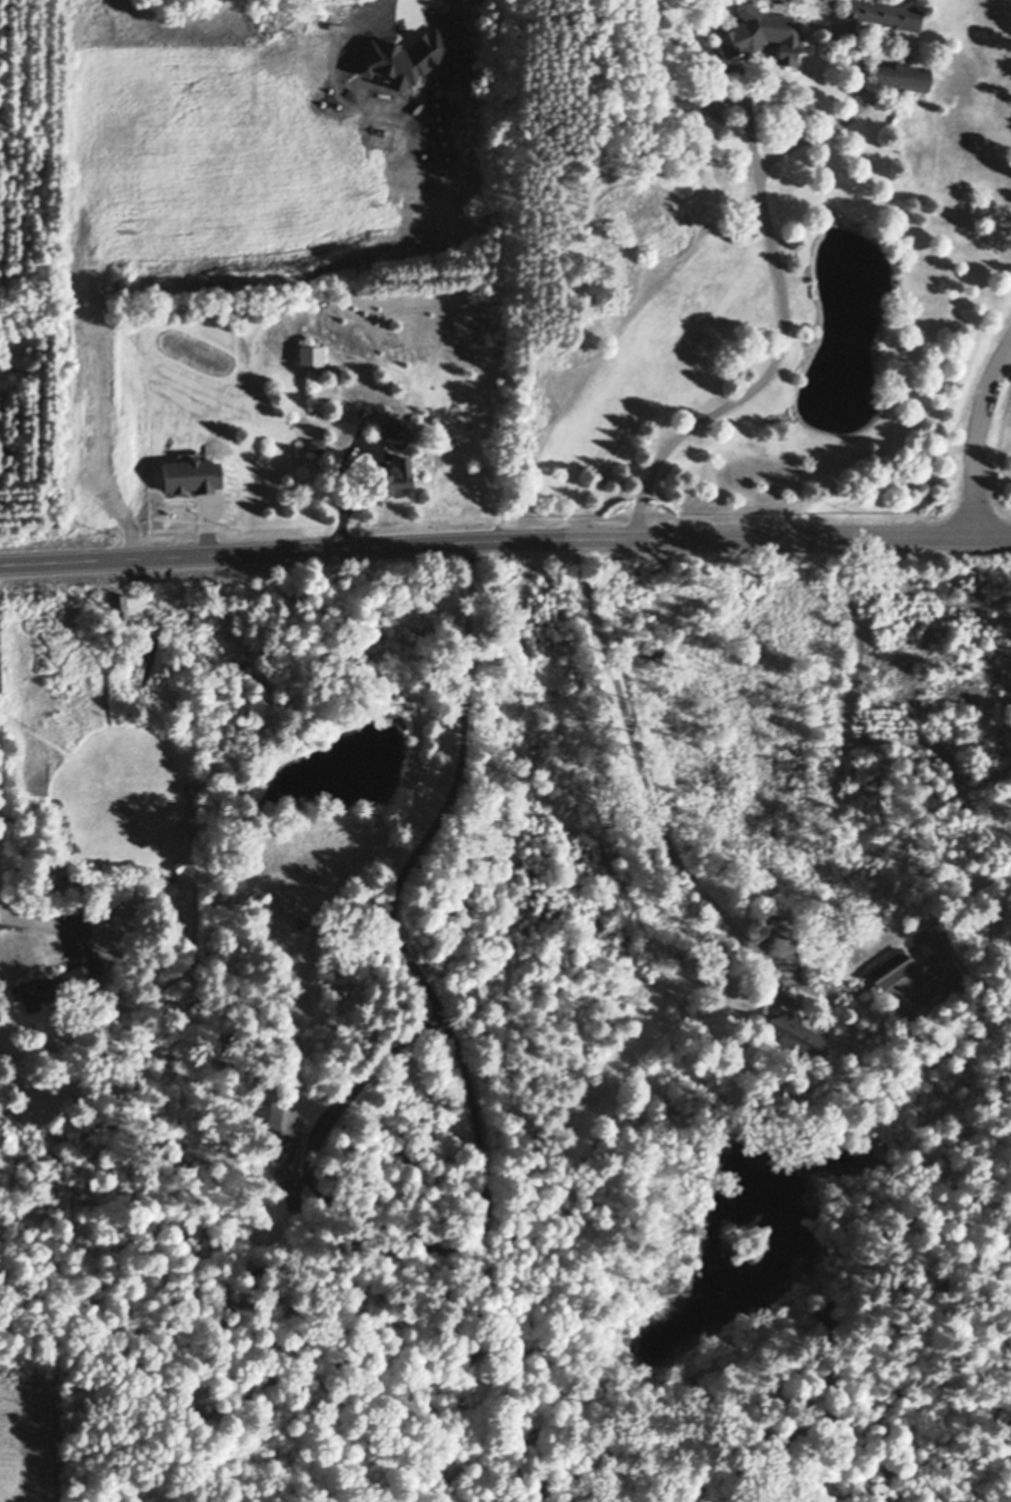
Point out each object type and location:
road: (406, 12)
building: (885, 13)
building: (761, 33)
building: (901, 76)
road: (779, 267)
building: (424, 377)
building: (395, 433)
road: (975, 436)
building: (316, 445)
building: (192, 475)
building: (396, 478)
road: (758, 537)
road: (253, 553)
building: (120, 607)
building: (161, 631)
road: (645, 776)
road: (3, 834)
road: (404, 895)
building: (98, 967)
building: (890, 968)
building: (52, 987)
building: (793, 1031)
building: (282, 1140)
road: (313, 1154)

